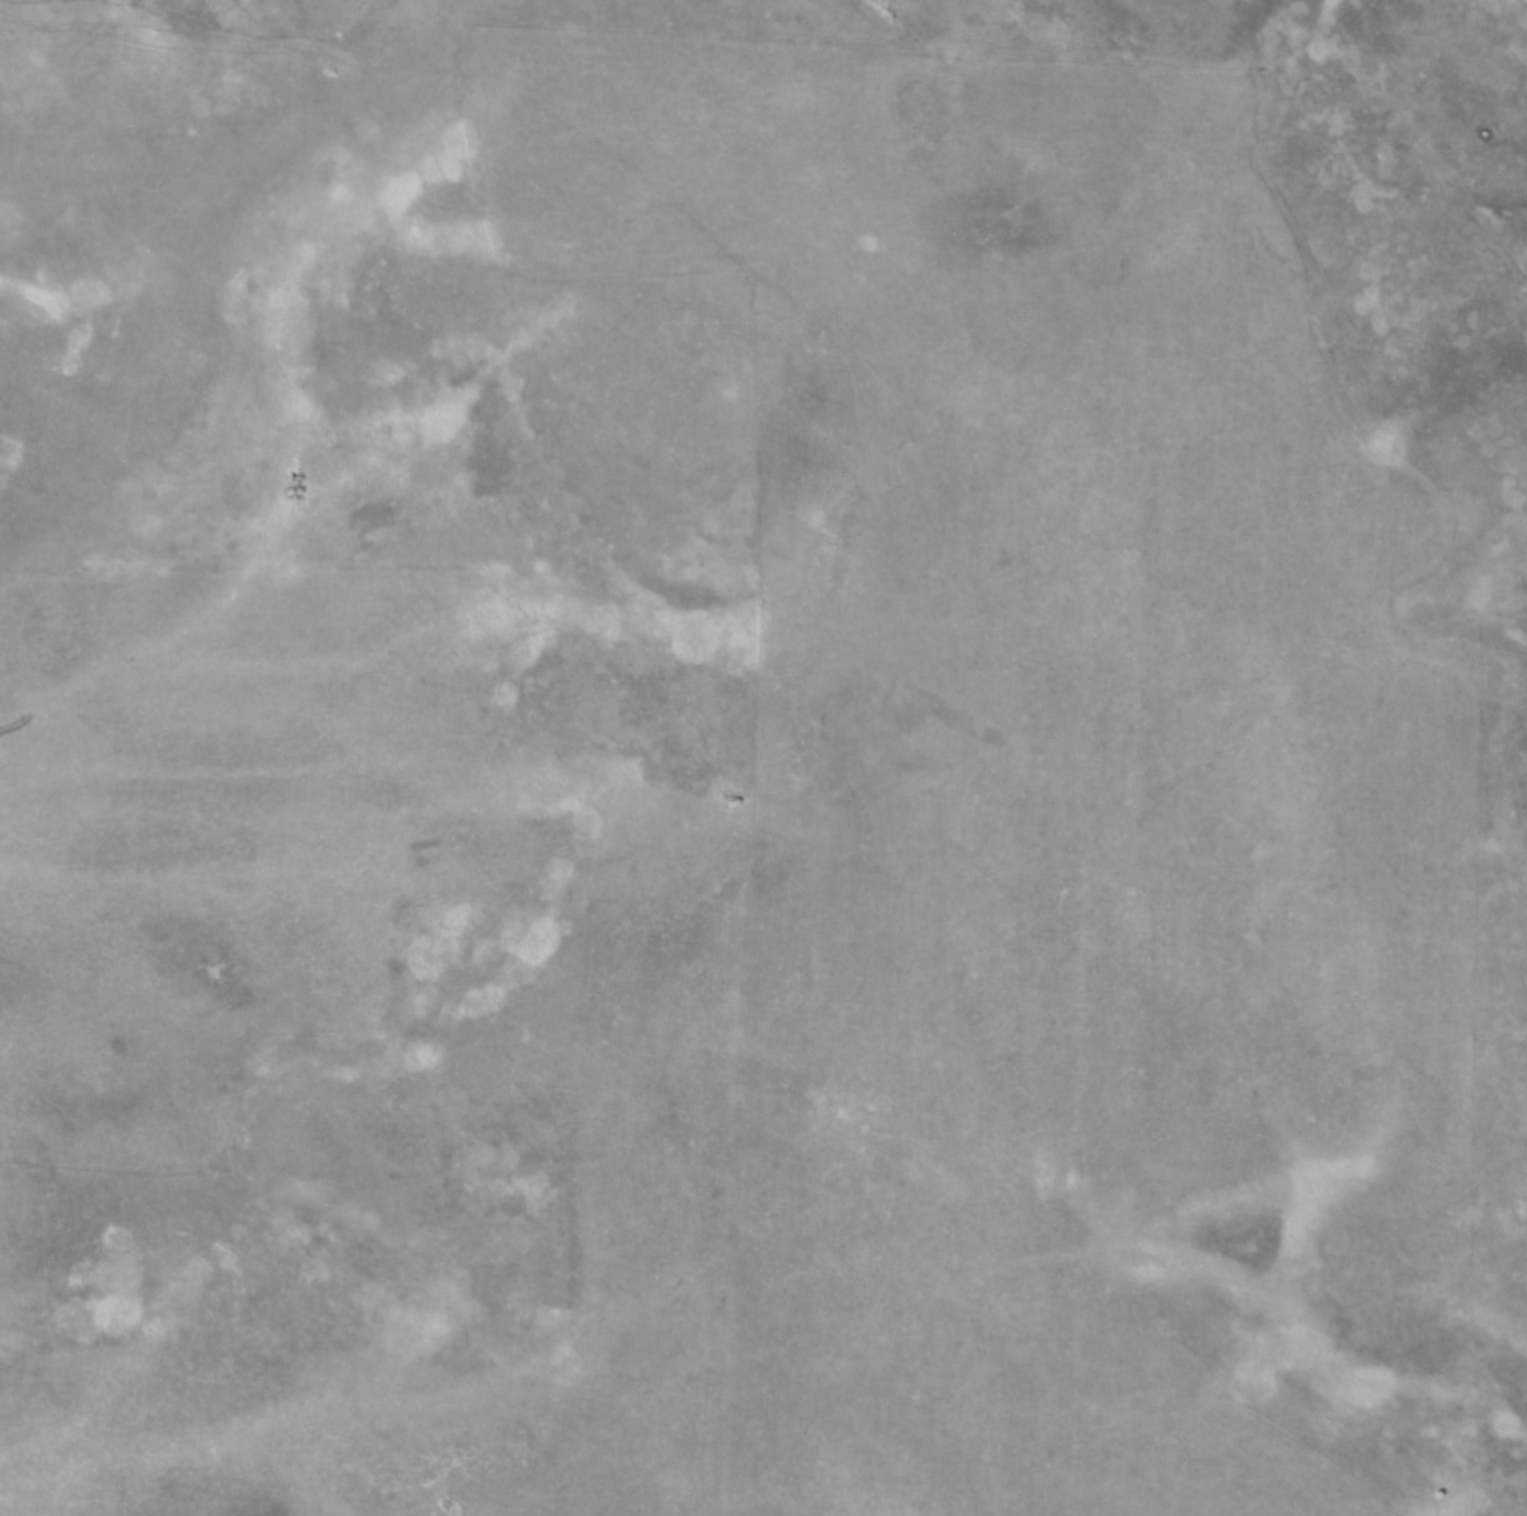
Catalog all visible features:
road: (1473, 1487)

